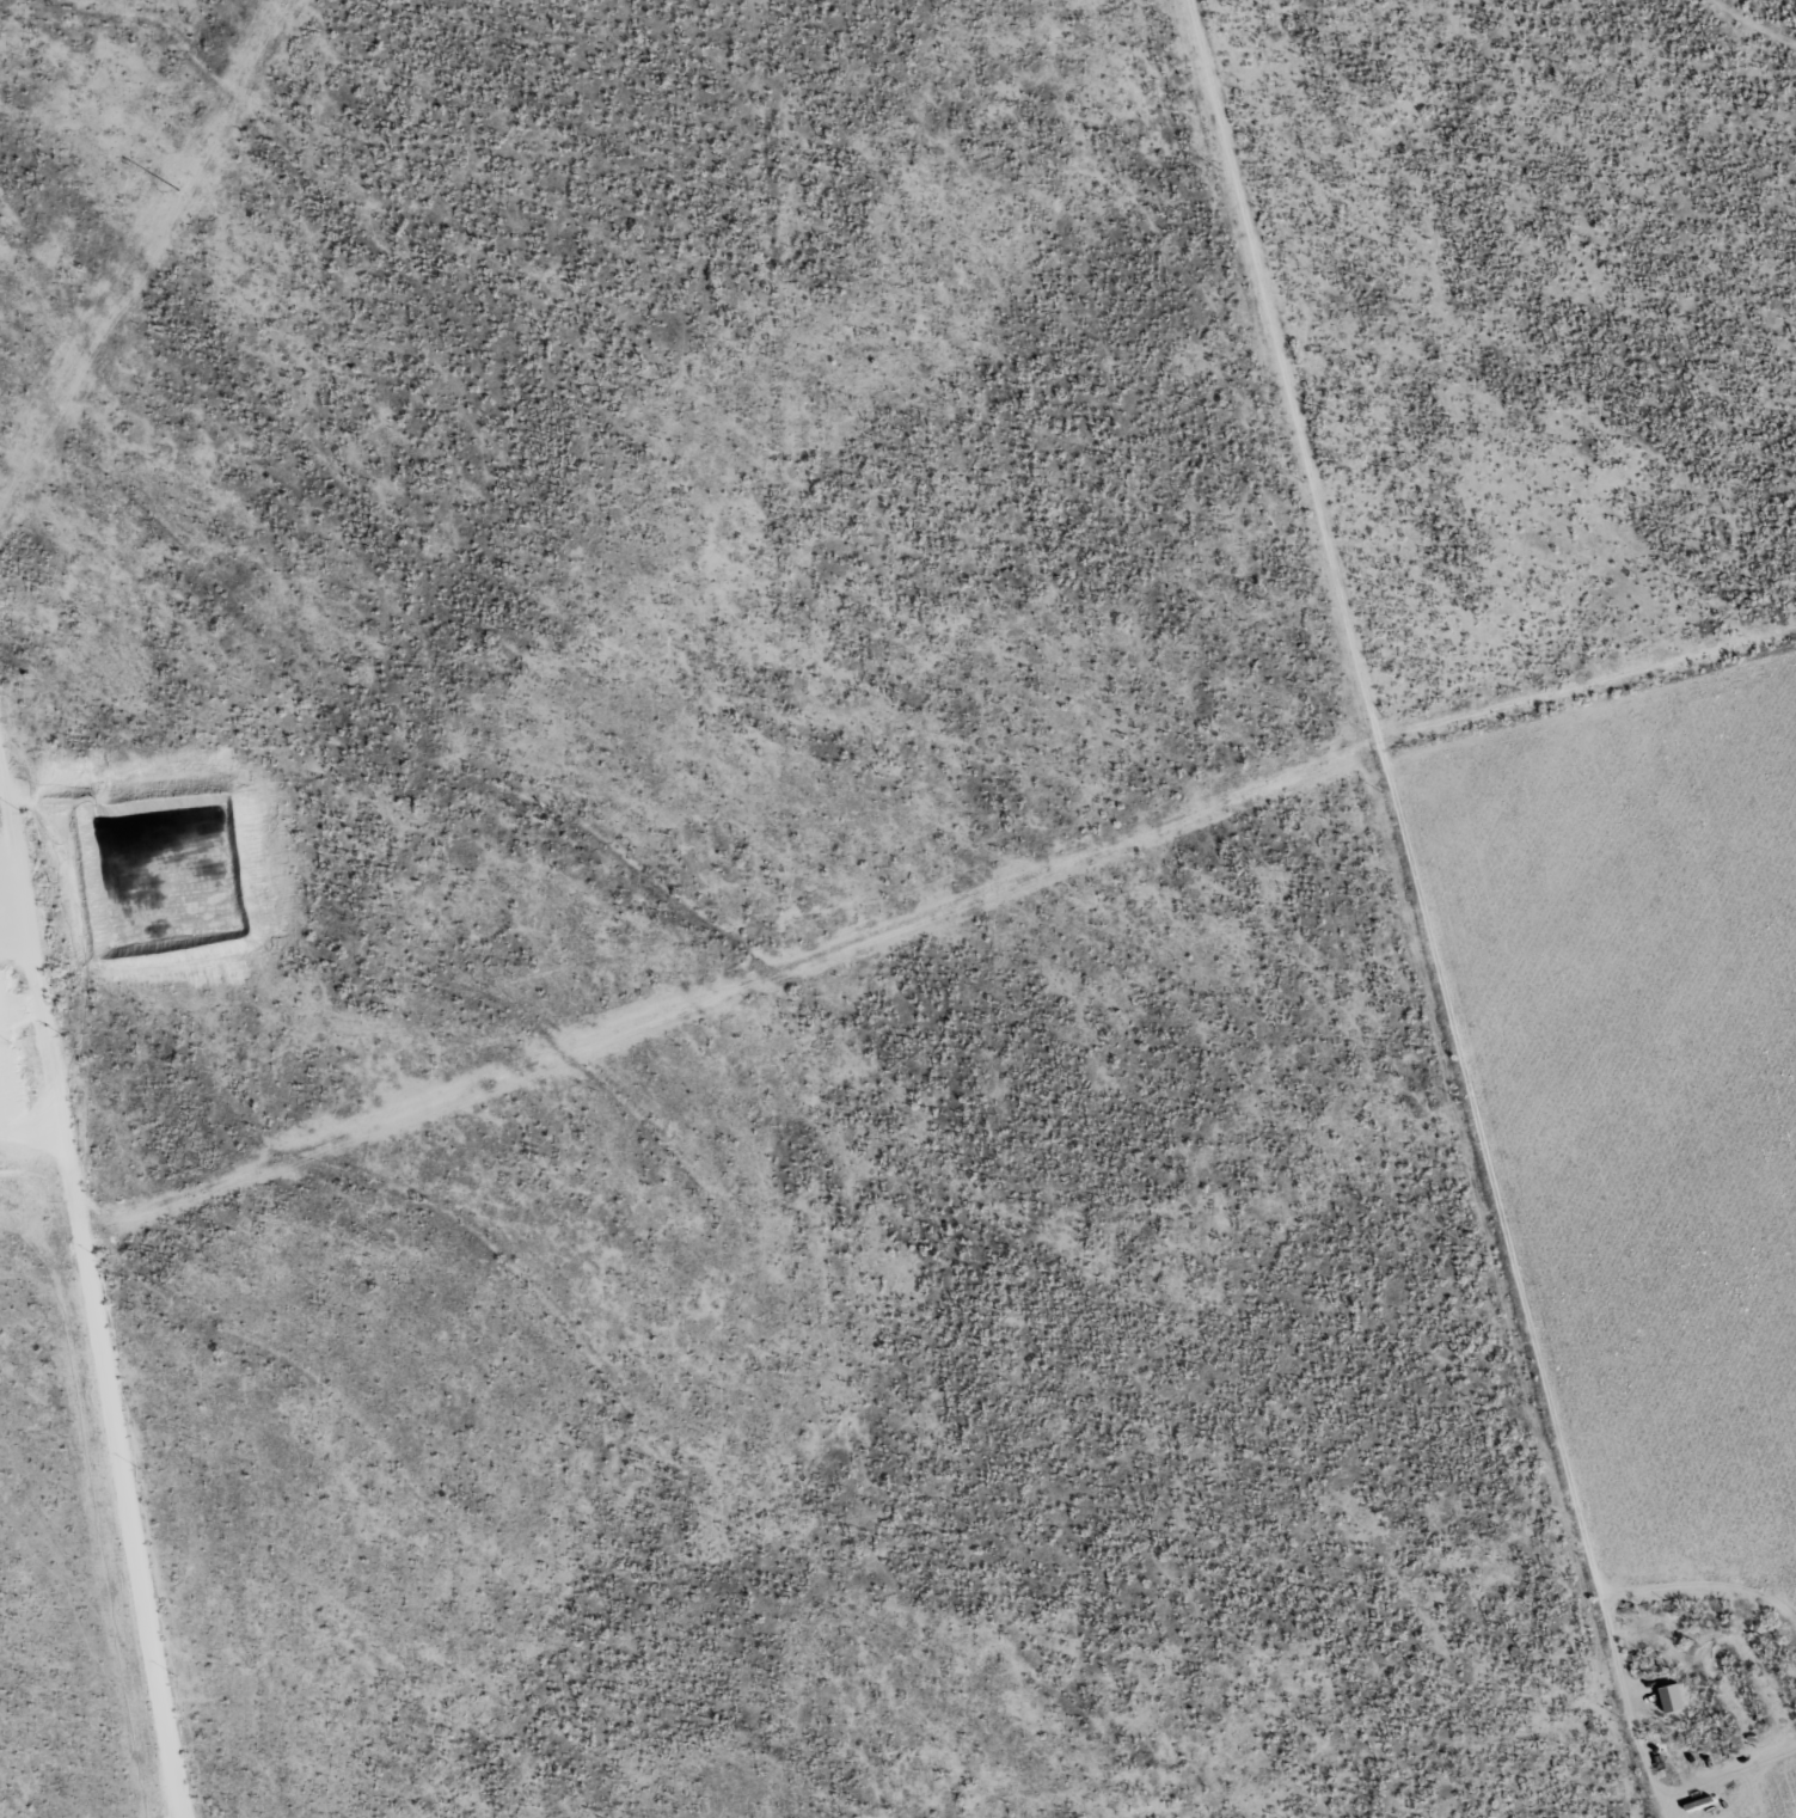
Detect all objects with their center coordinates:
power tower: (178, 190)
road: (1275, 366)
road: (1589, 667)
road: (98, 1286)

